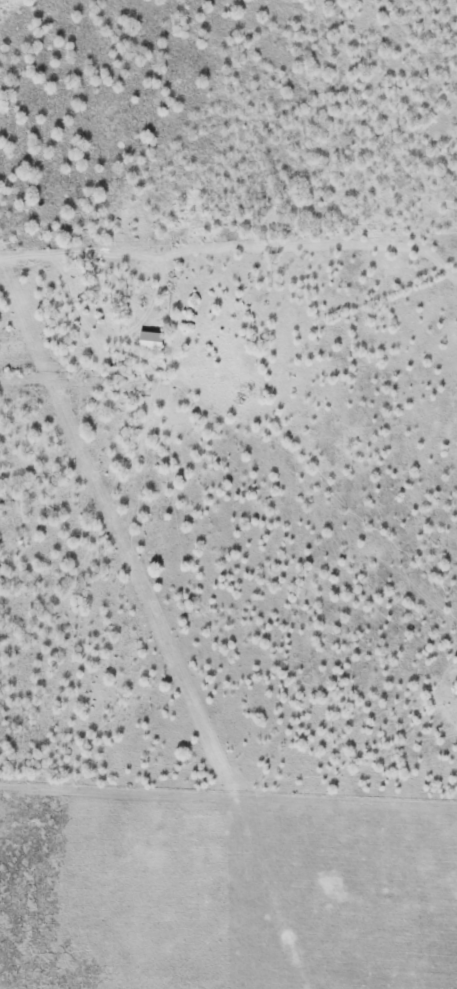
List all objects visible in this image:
building: (146, 341)

